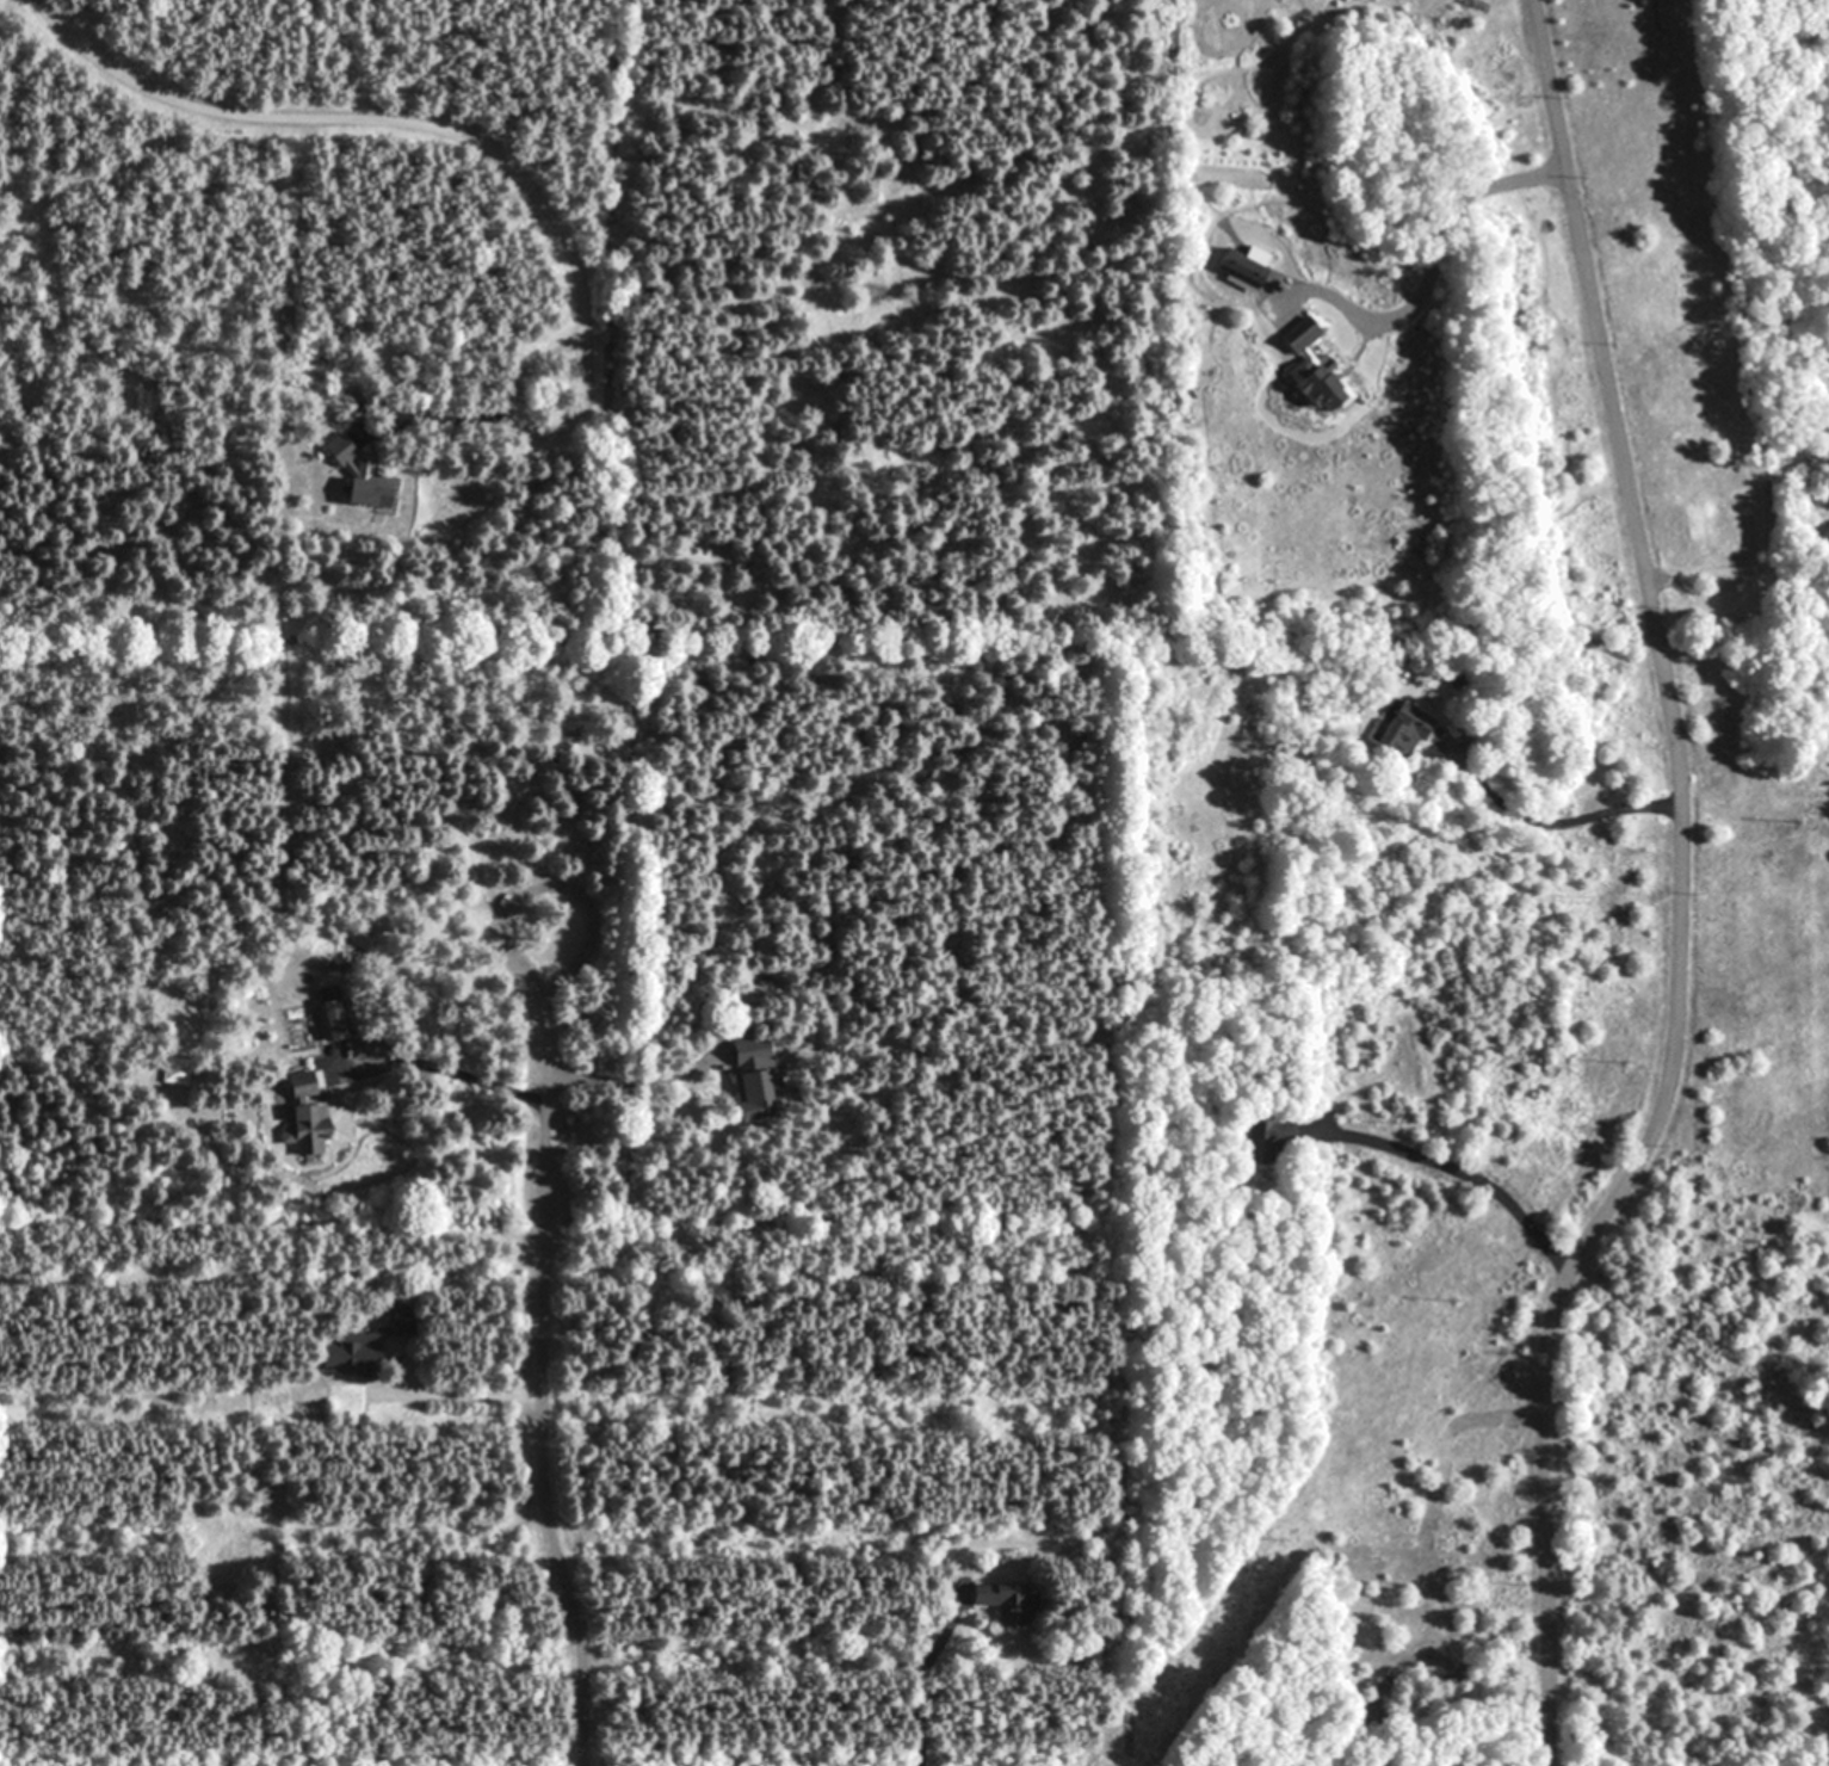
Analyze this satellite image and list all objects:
road: (492, 158)
road: (523, 375)
road: (446, 401)
building: (359, 493)
road: (1745, 566)
building: (1402, 729)
power tower: (1798, 820)
road: (1556, 825)
road: (555, 883)
road: (1680, 890)
power tower: (1626, 1062)
road: (441, 1067)
building: (748, 1076)
road: (632, 1079)
building: (303, 1128)
building: (1271, 1132)
road: (1466, 1169)
power tower: (1448, 1297)
road: (542, 1385)
road: (463, 1393)
power tower: (1275, 1542)
building: (1001, 1600)
road: (920, 1678)

